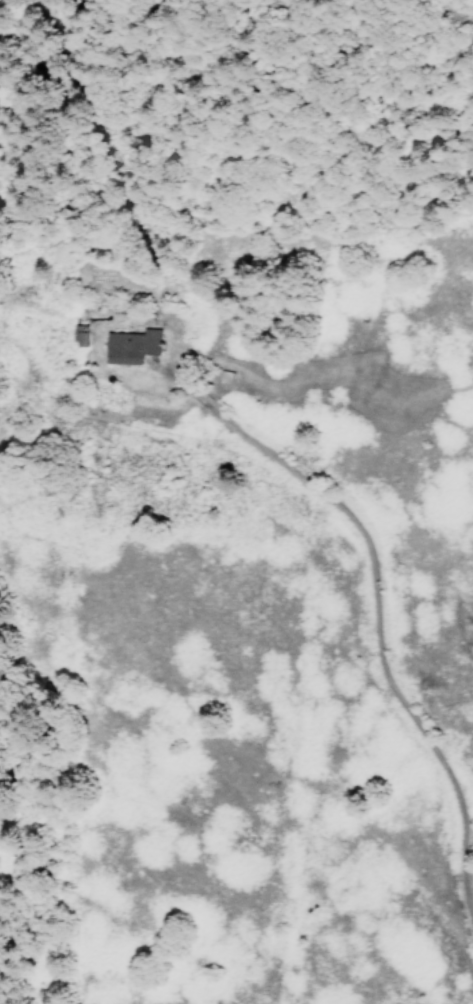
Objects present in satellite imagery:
building: (130, 347)
road: (378, 606)

